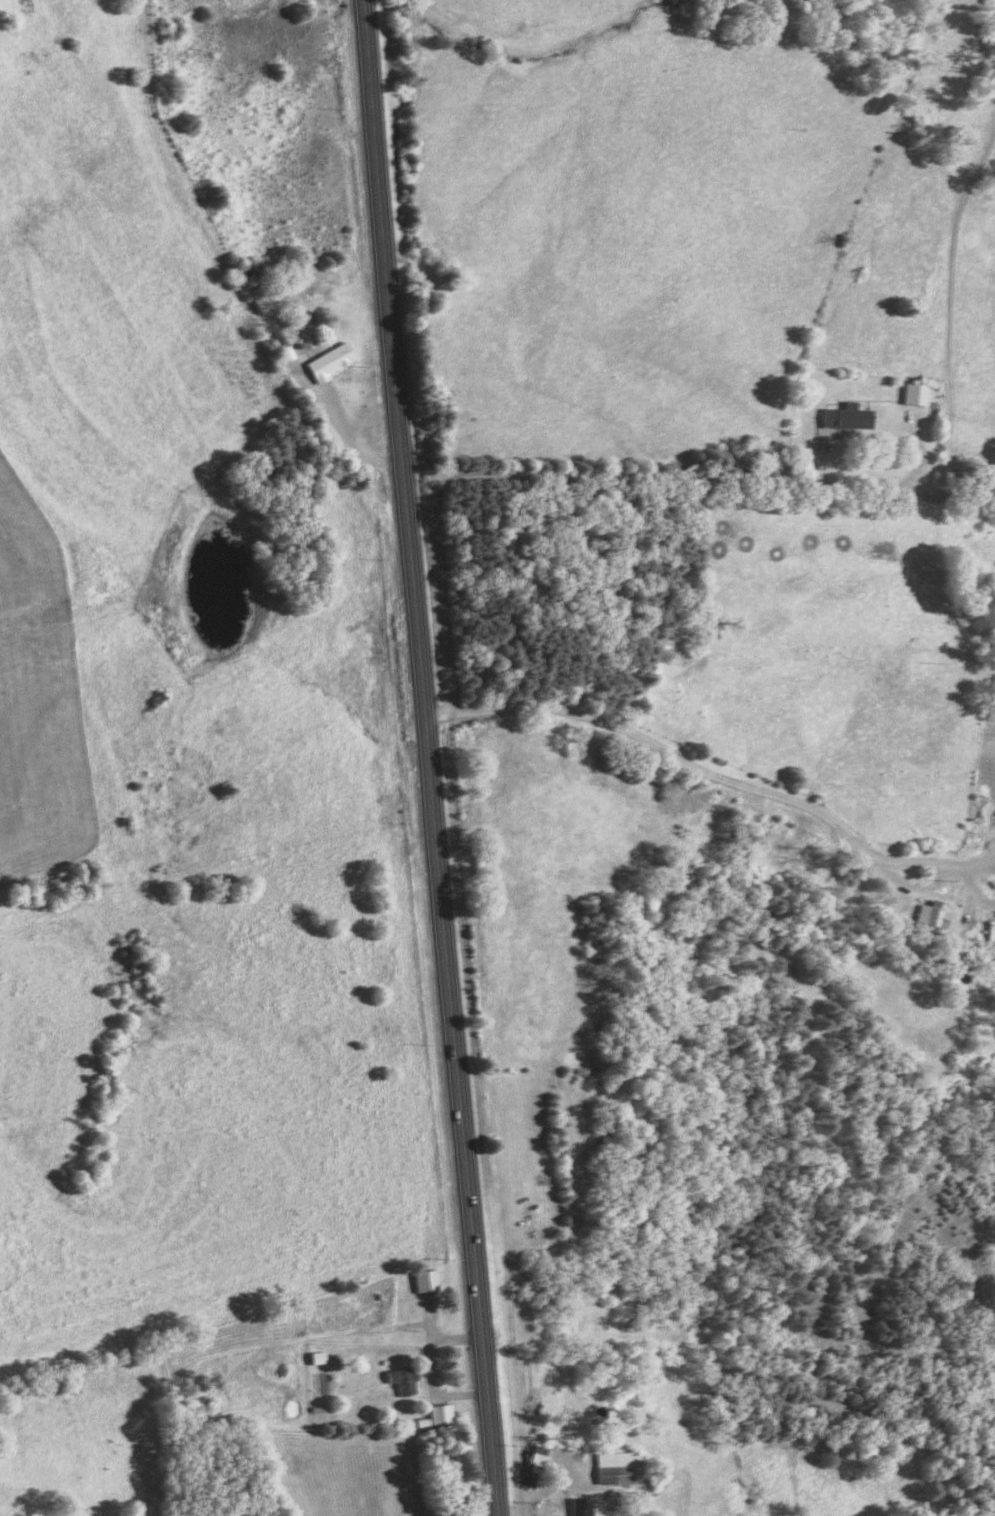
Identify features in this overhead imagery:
building: (279, 347)
building: (329, 365)
building: (912, 397)
building: (845, 420)
road: (432, 757)
building: (928, 923)
building: (421, 1284)
building: (387, 1310)
building: (399, 1383)
building: (436, 1417)
building: (615, 1470)
building: (576, 1508)

